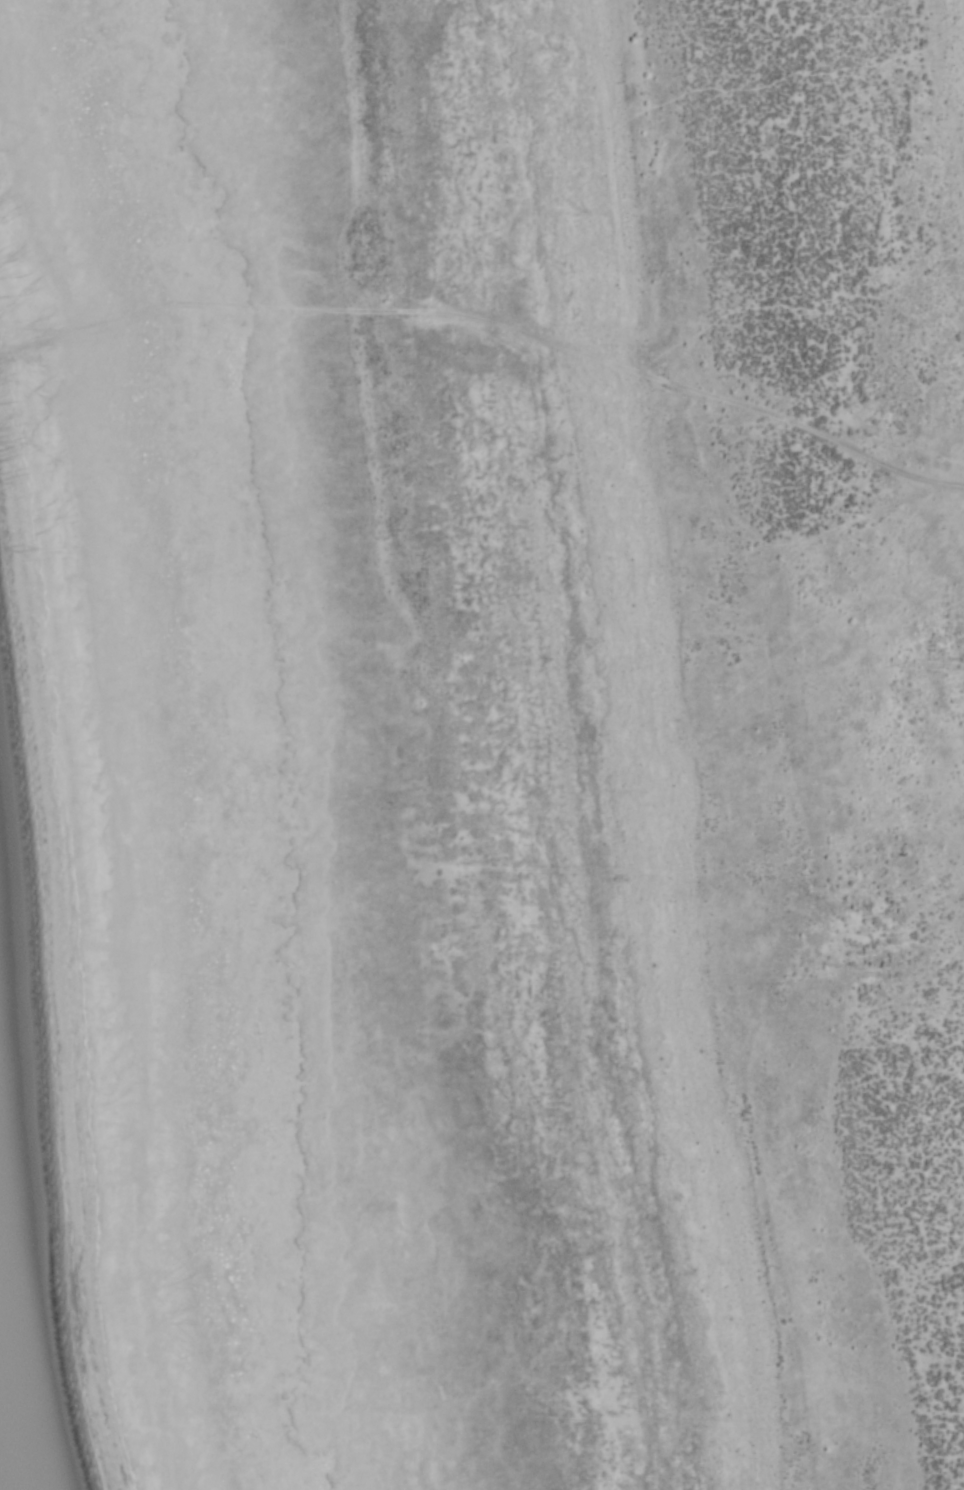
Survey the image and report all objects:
road: (868, 444)
road: (815, 974)

